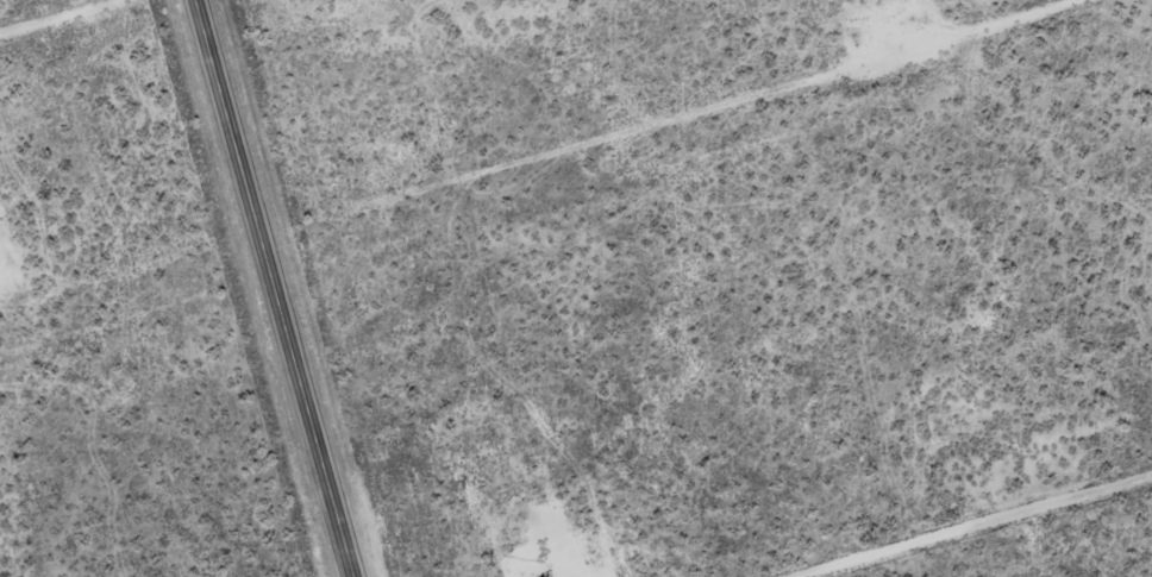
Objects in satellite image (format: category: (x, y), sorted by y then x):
road: (46, 13)
road: (538, 149)
road: (273, 288)
road: (963, 523)

